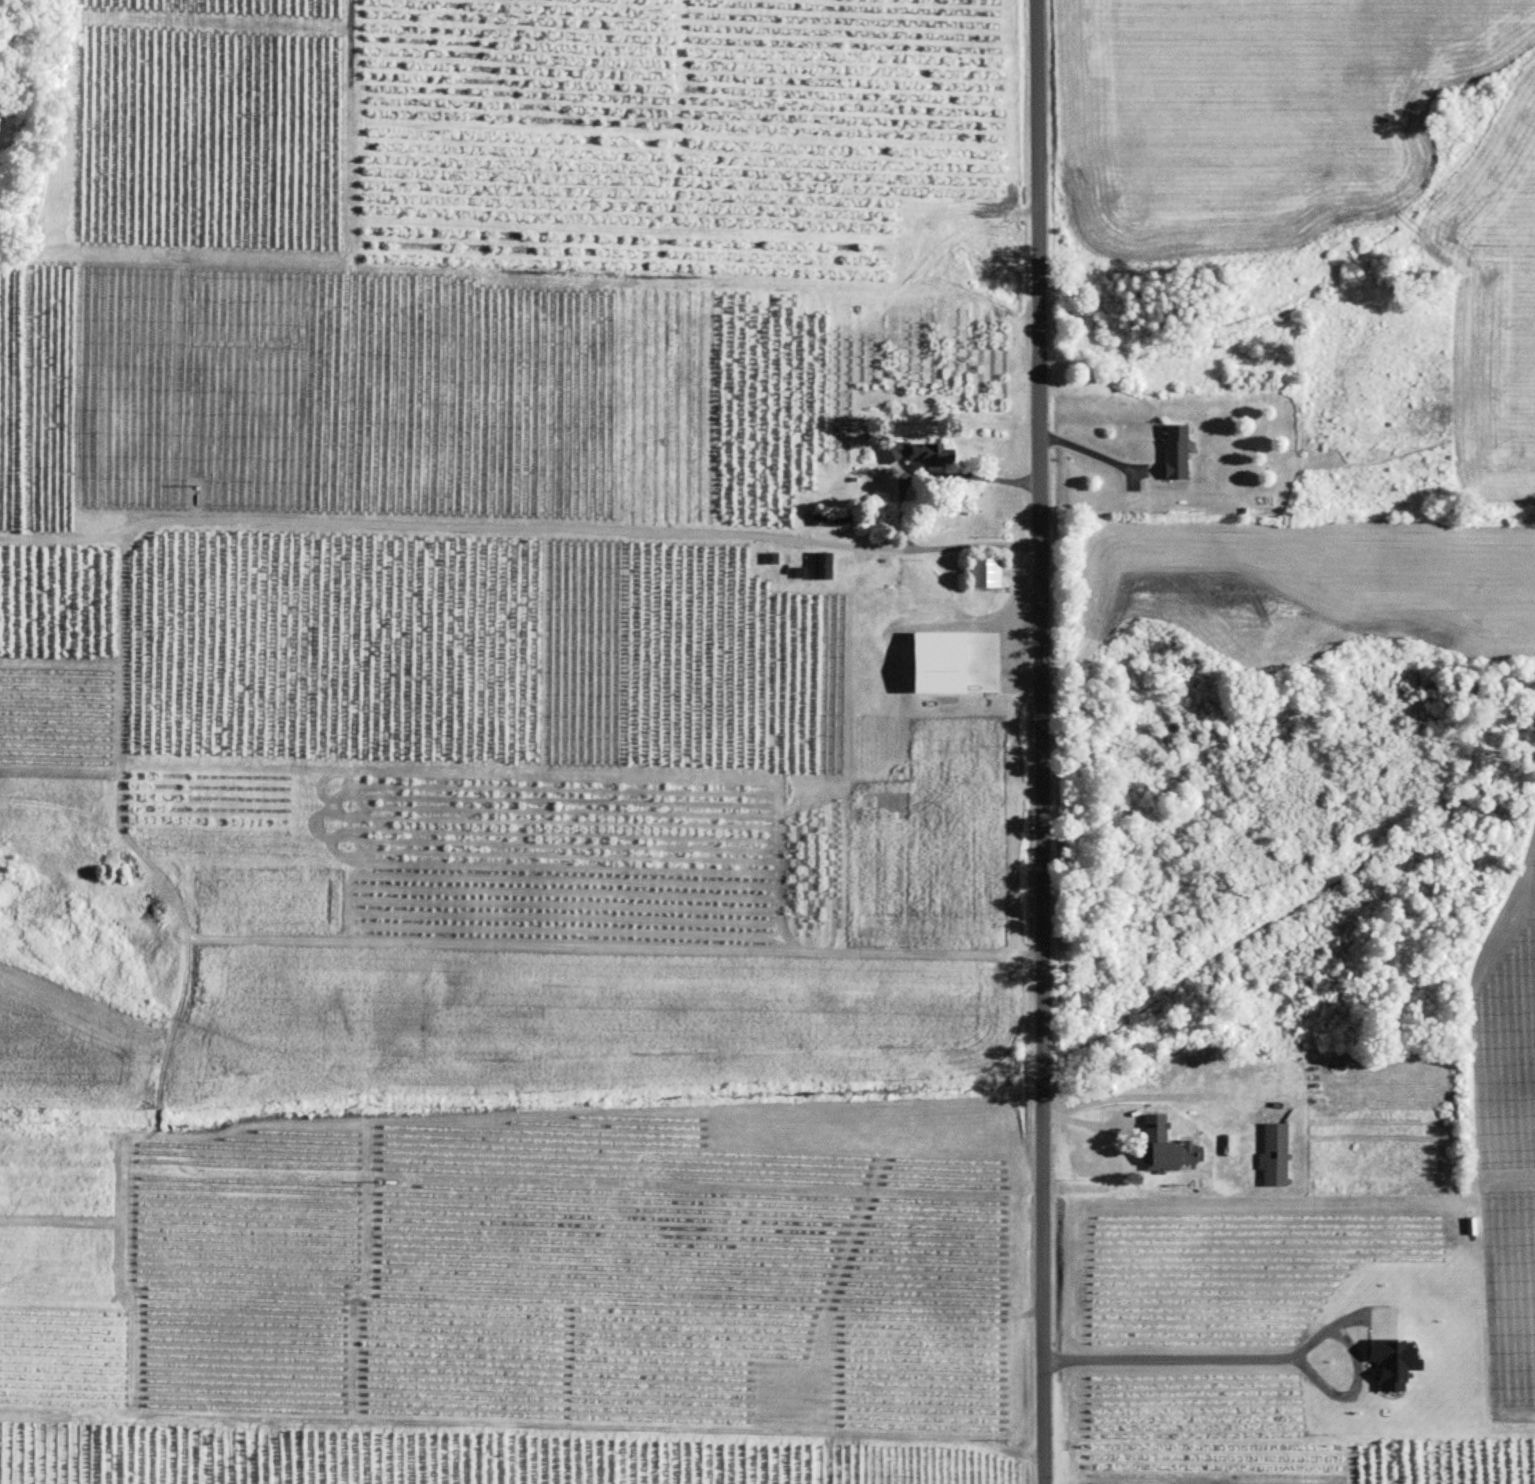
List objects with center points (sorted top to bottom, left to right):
road: (1093, 452)
building: (917, 454)
building: (1177, 454)
building: (1267, 501)
building: (821, 522)
building: (843, 522)
road: (519, 526)
building: (824, 566)
building: (987, 573)
road: (1041, 741)
building: (1165, 1148)
building: (1280, 1156)
road: (1268, 1358)

